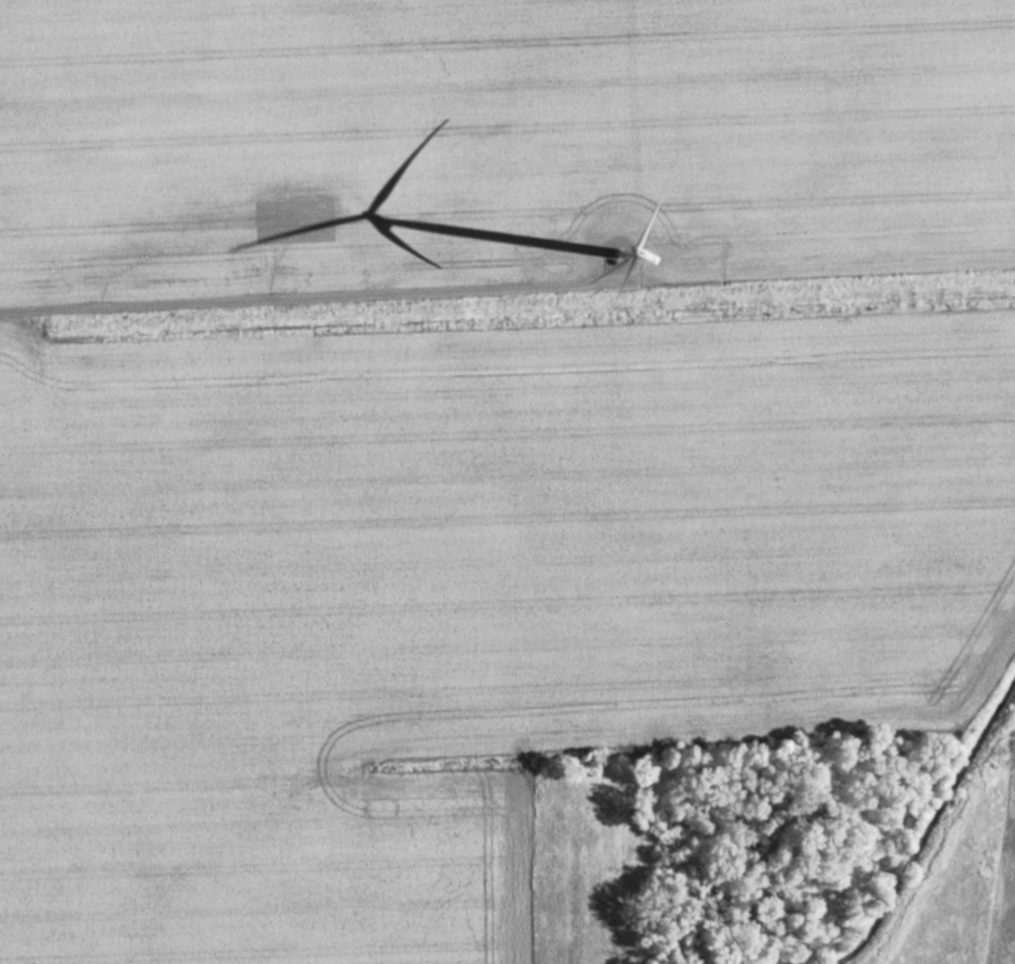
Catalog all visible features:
wind turbine: (632, 251)

